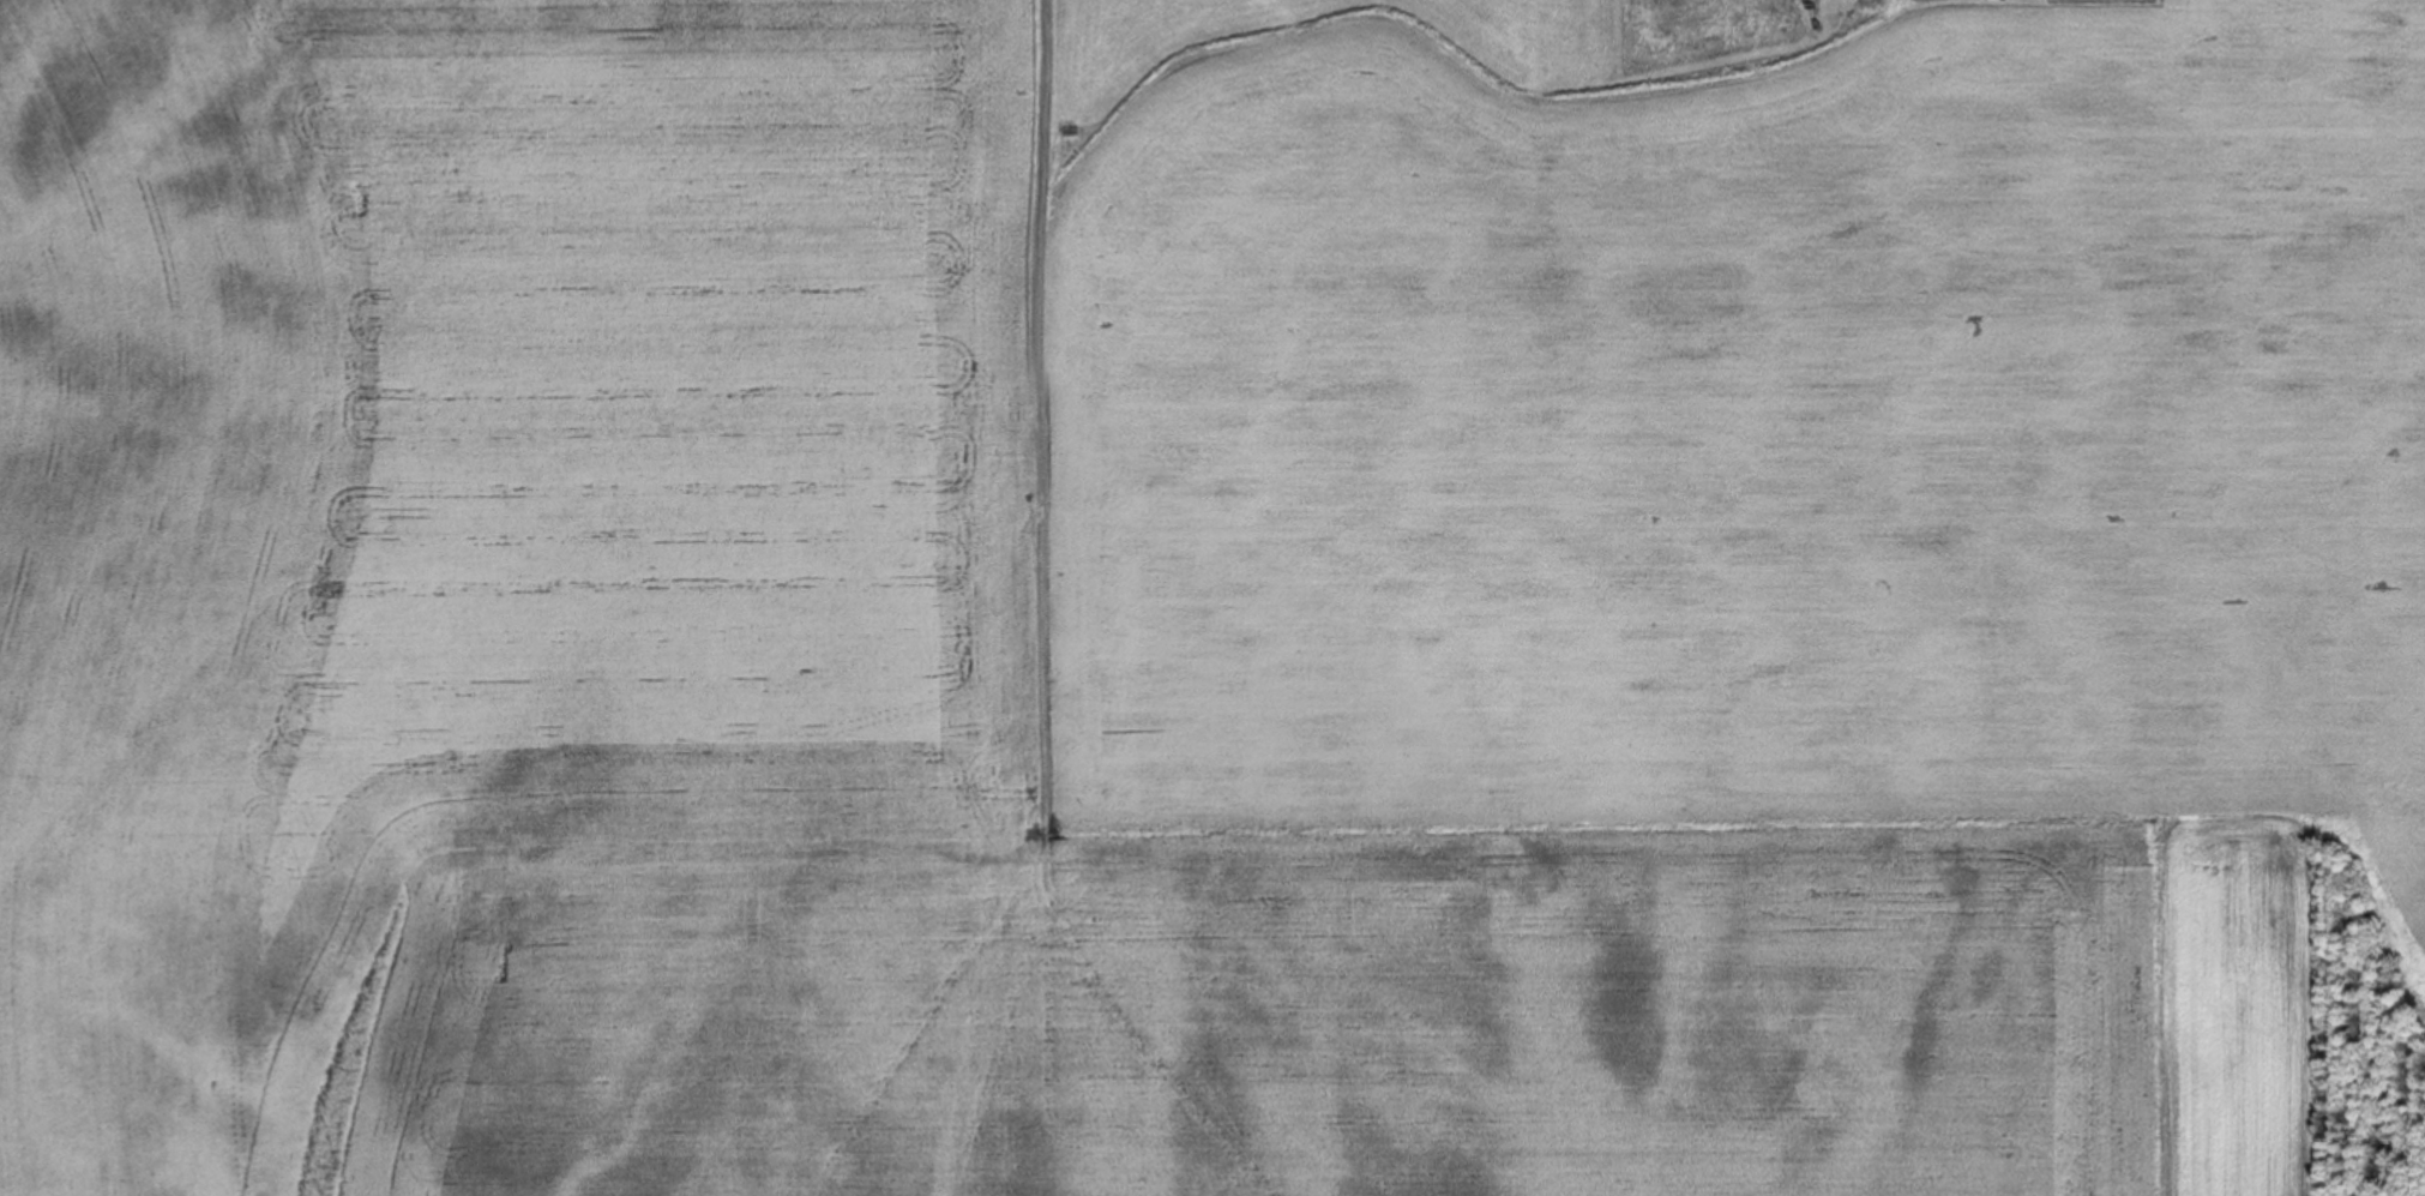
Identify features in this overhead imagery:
road: (1069, 677)

